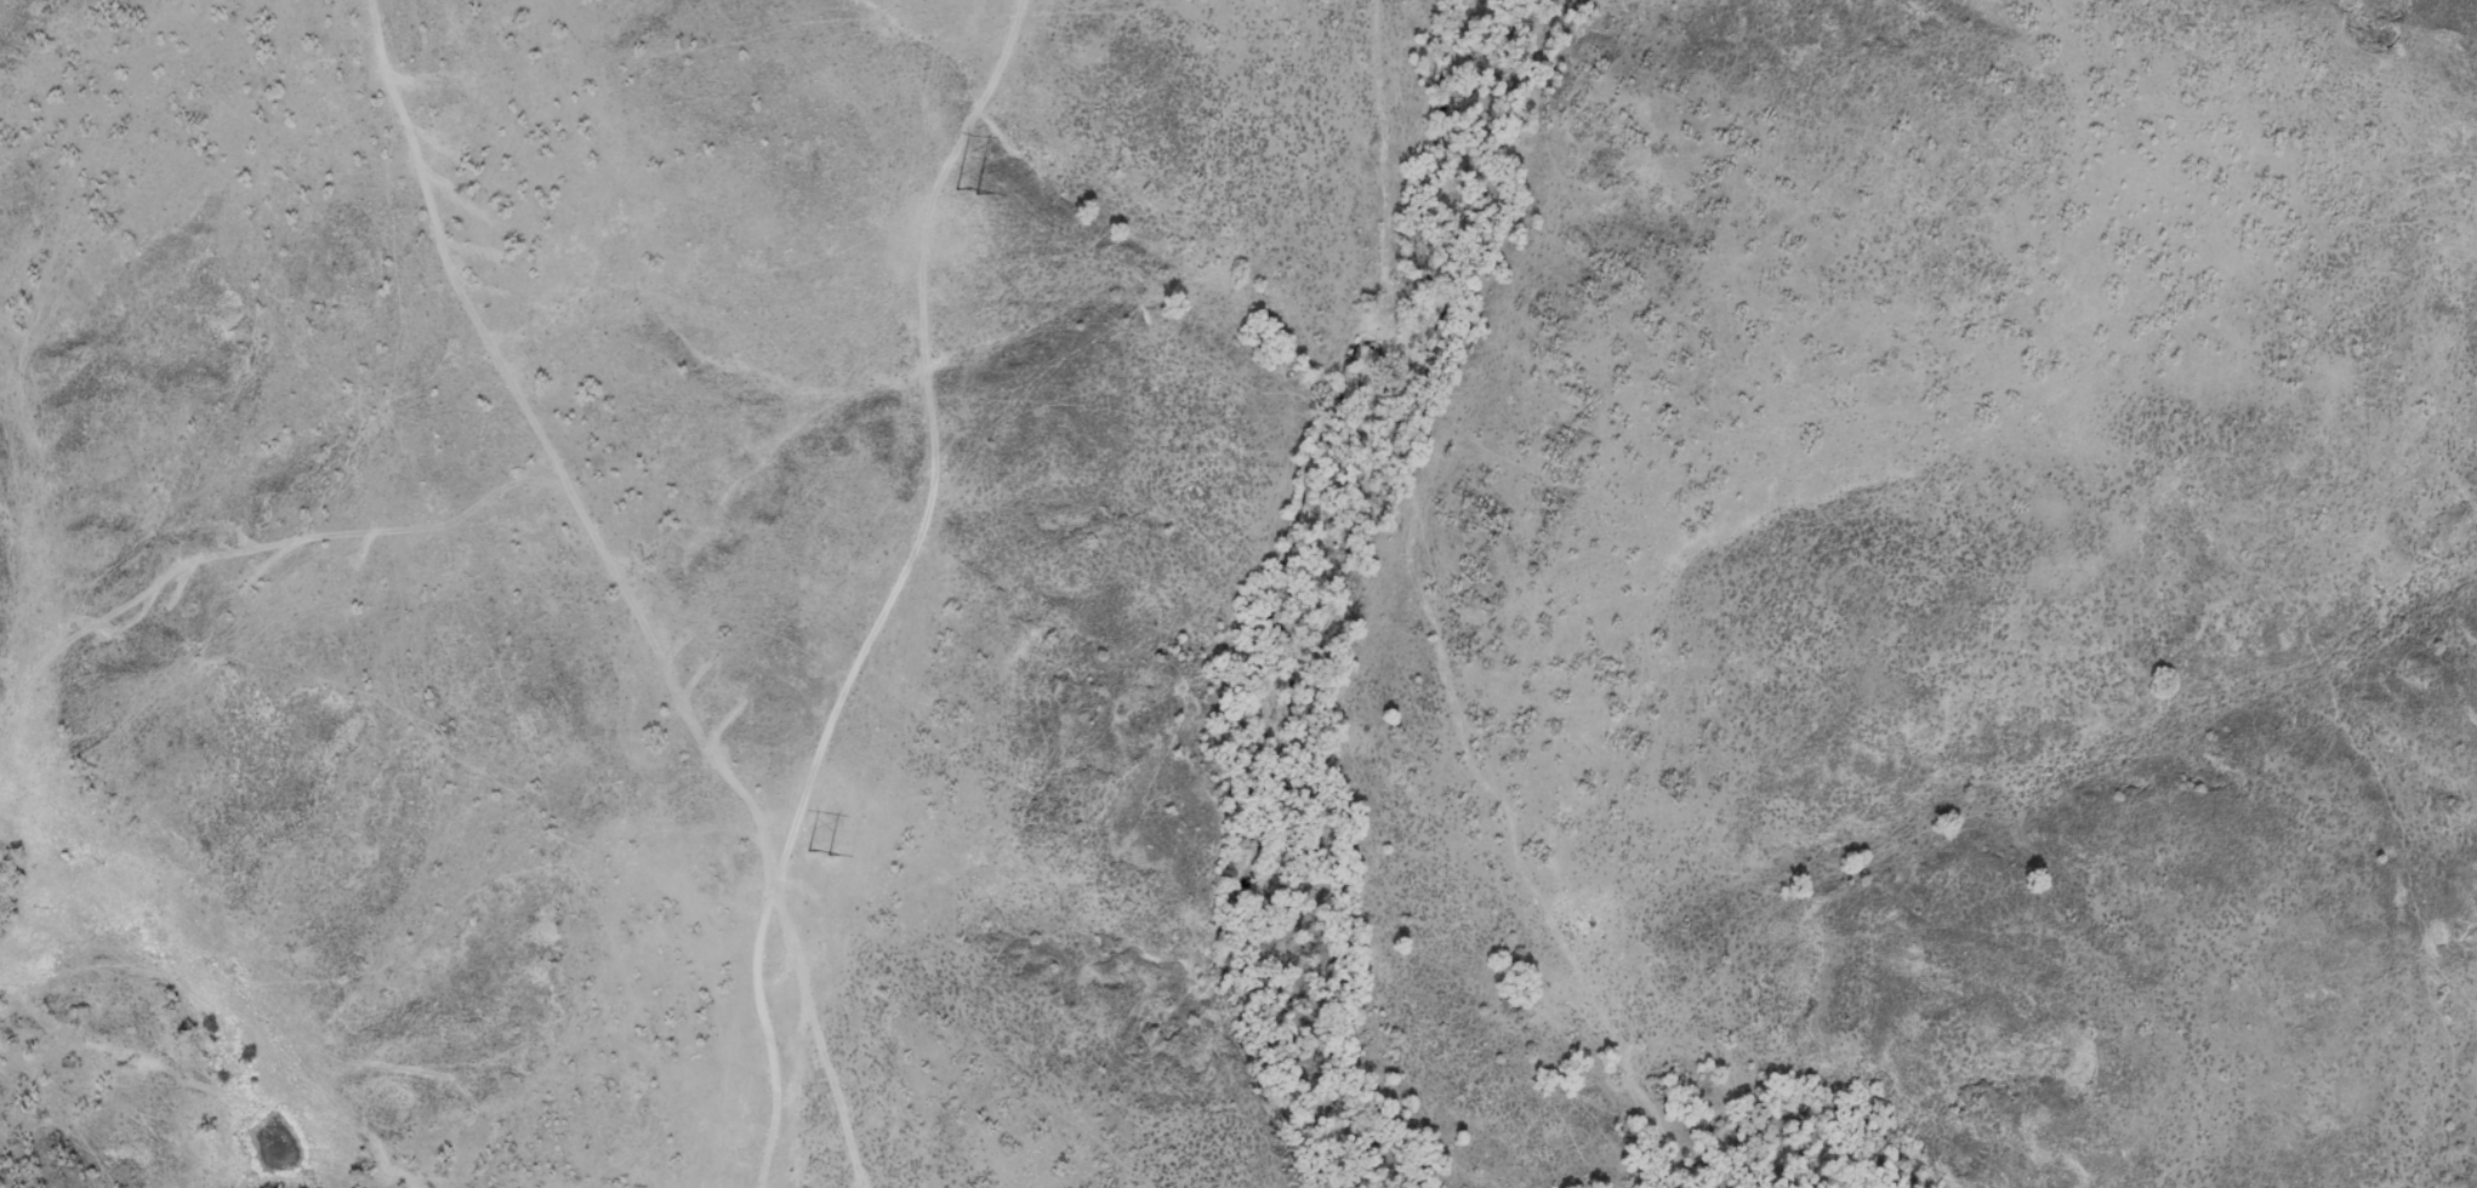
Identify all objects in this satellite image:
power tower: (964, 187)
power tower: (820, 849)

